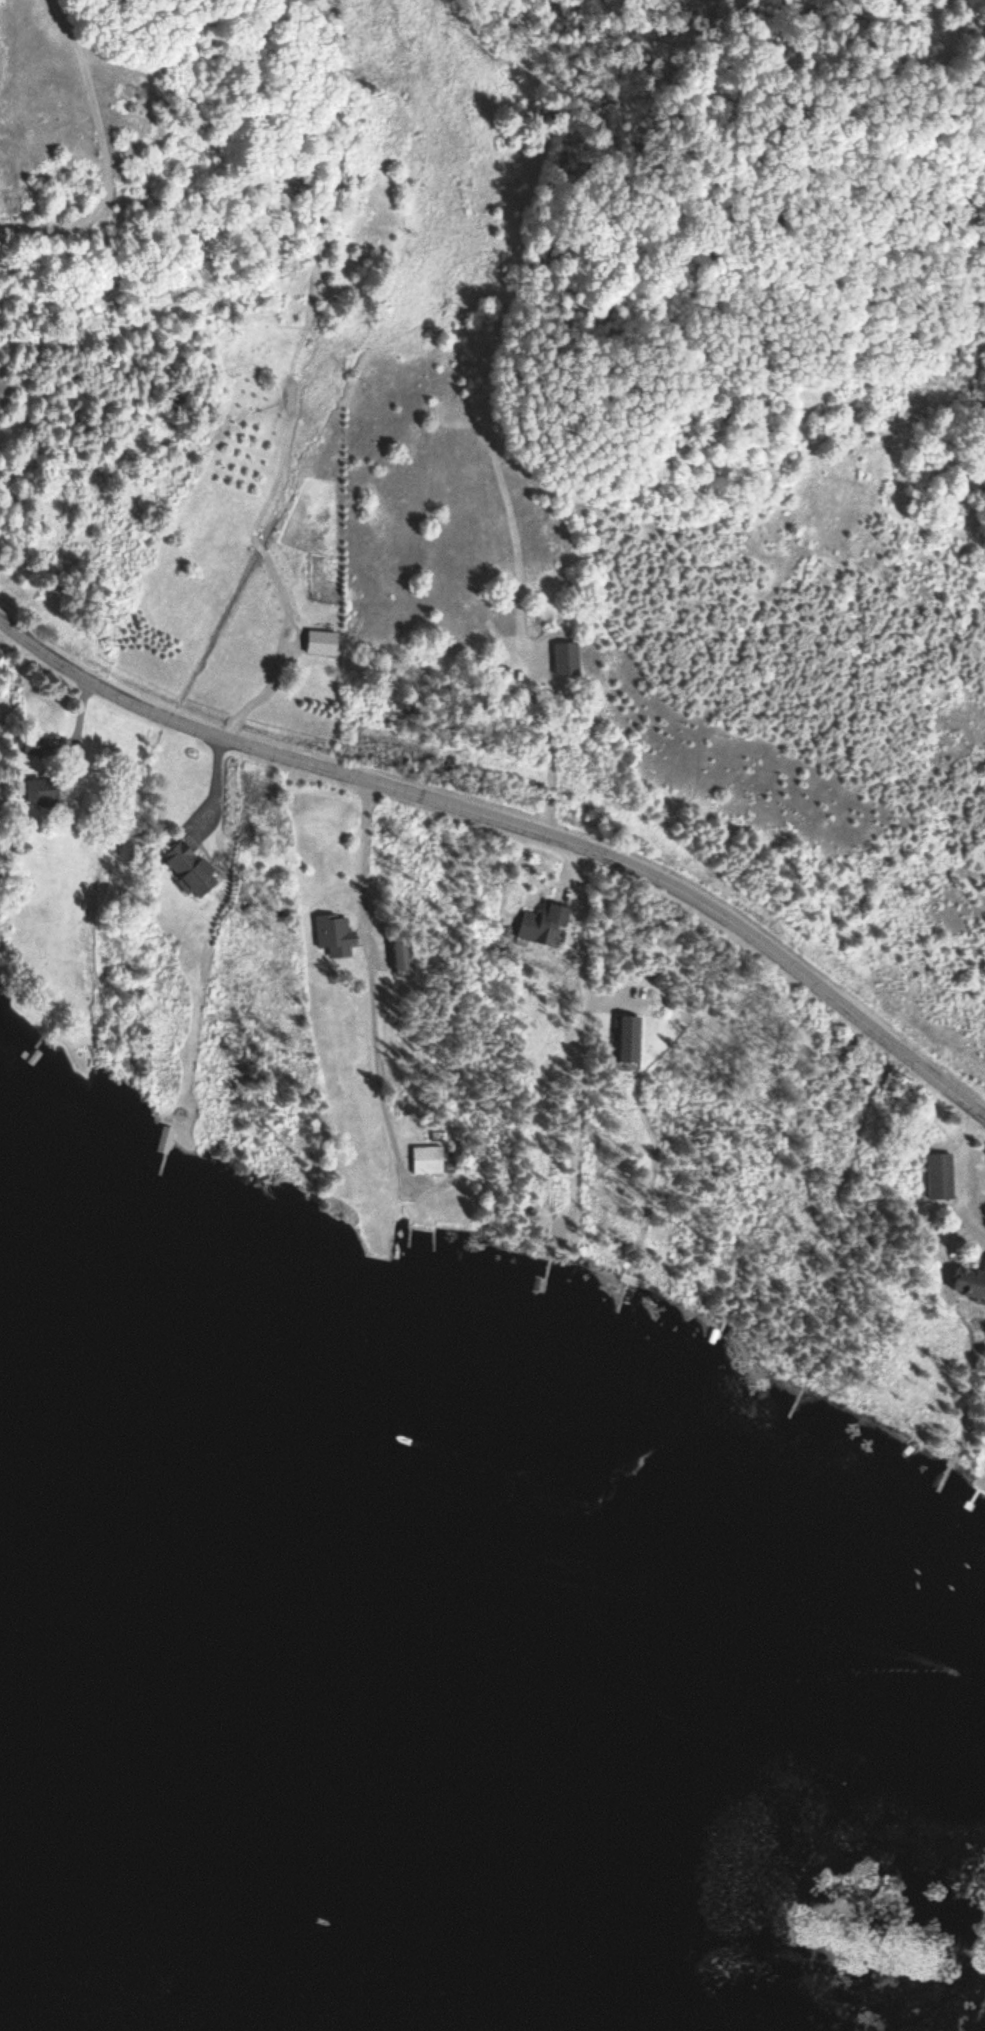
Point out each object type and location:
road: (82, 212)
building: (323, 644)
building: (0, 656)
building: (521, 674)
building: (33, 745)
building: (42, 791)
road: (514, 829)
building: (191, 870)
building: (544, 924)
building: (335, 936)
building: (401, 956)
road: (370, 990)
building: (629, 1038)
building: (166, 1136)
building: (428, 1160)
building: (940, 1176)
building: (970, 1283)

